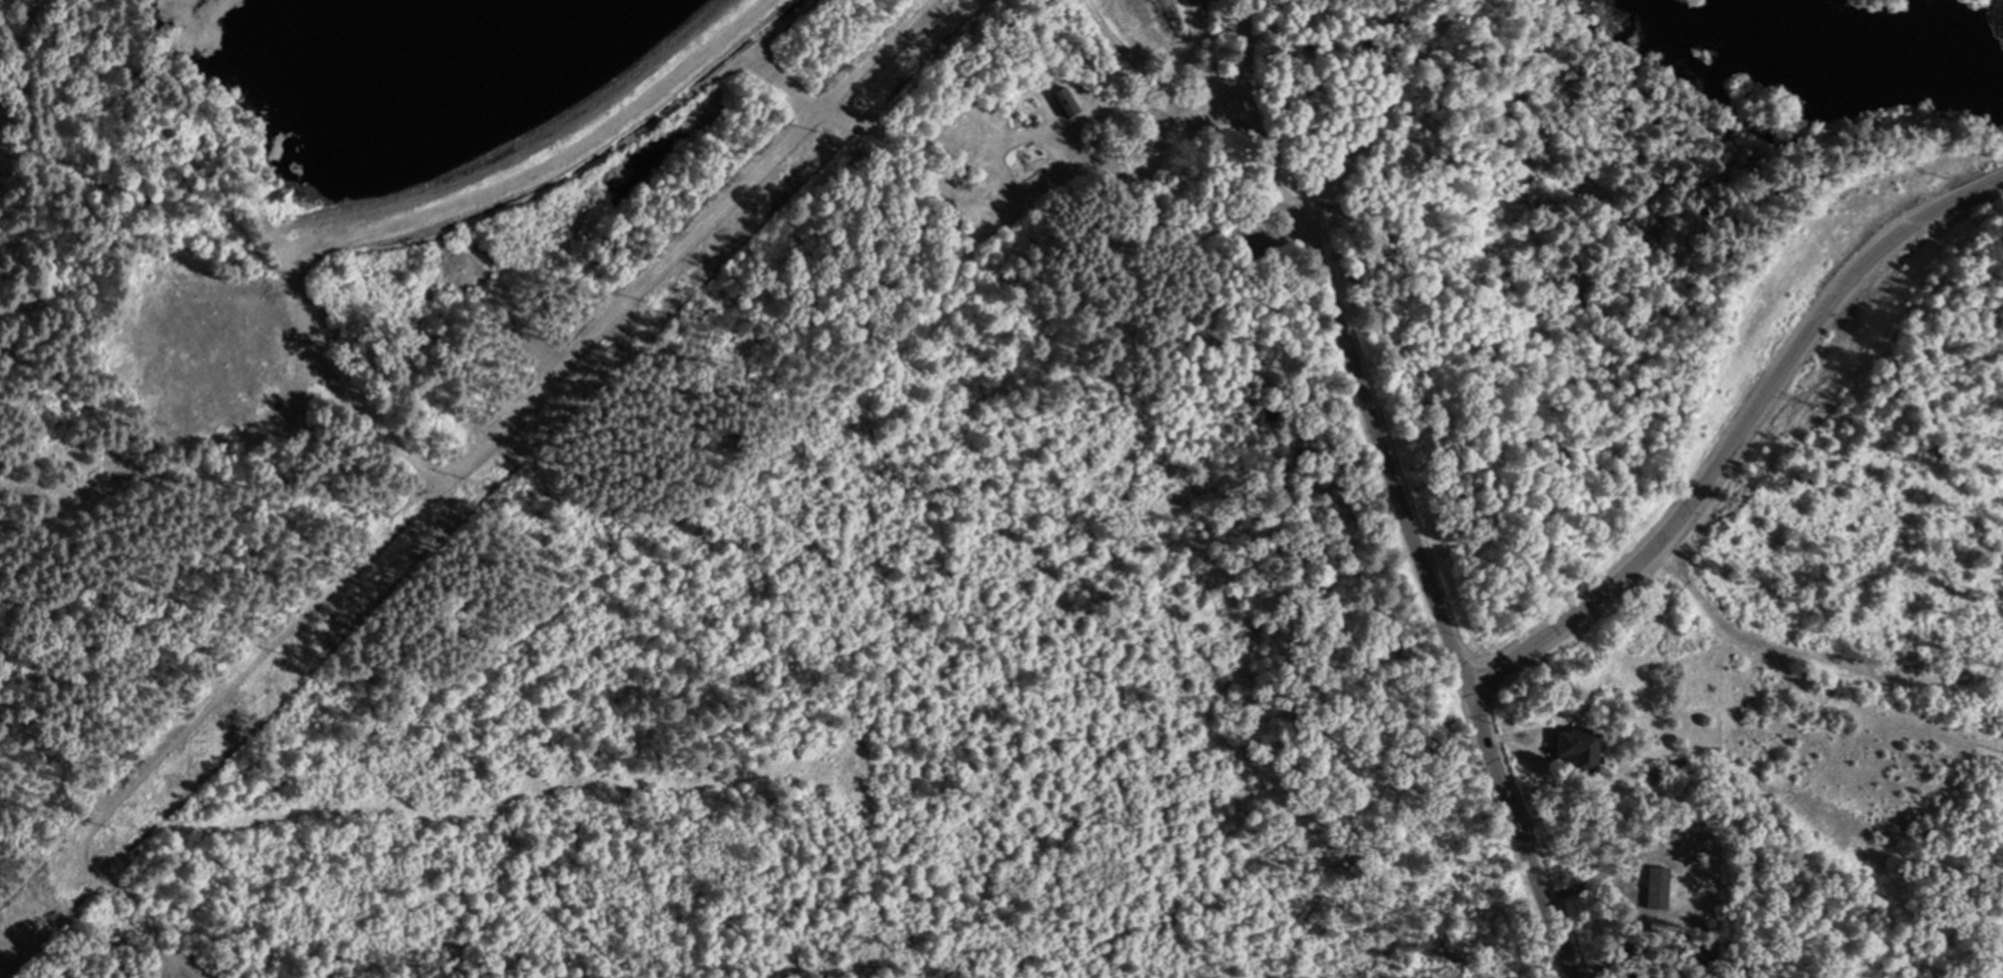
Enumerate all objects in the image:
river: (1859, 44)
road: (1320, 55)
road: (1252, 93)
building: (1062, 99)
road: (1382, 105)
power tower: (819, 129)
road: (1305, 169)
road: (1289, 175)
road: (1298, 199)
parking lot: (1249, 228)
road: (1259, 230)
power tower: (650, 297)
road: (1387, 453)
power tower: (470, 478)
road: (1647, 554)
power tower: (291, 658)
building: (1573, 752)
power tower: (119, 829)
road: (183, 973)

